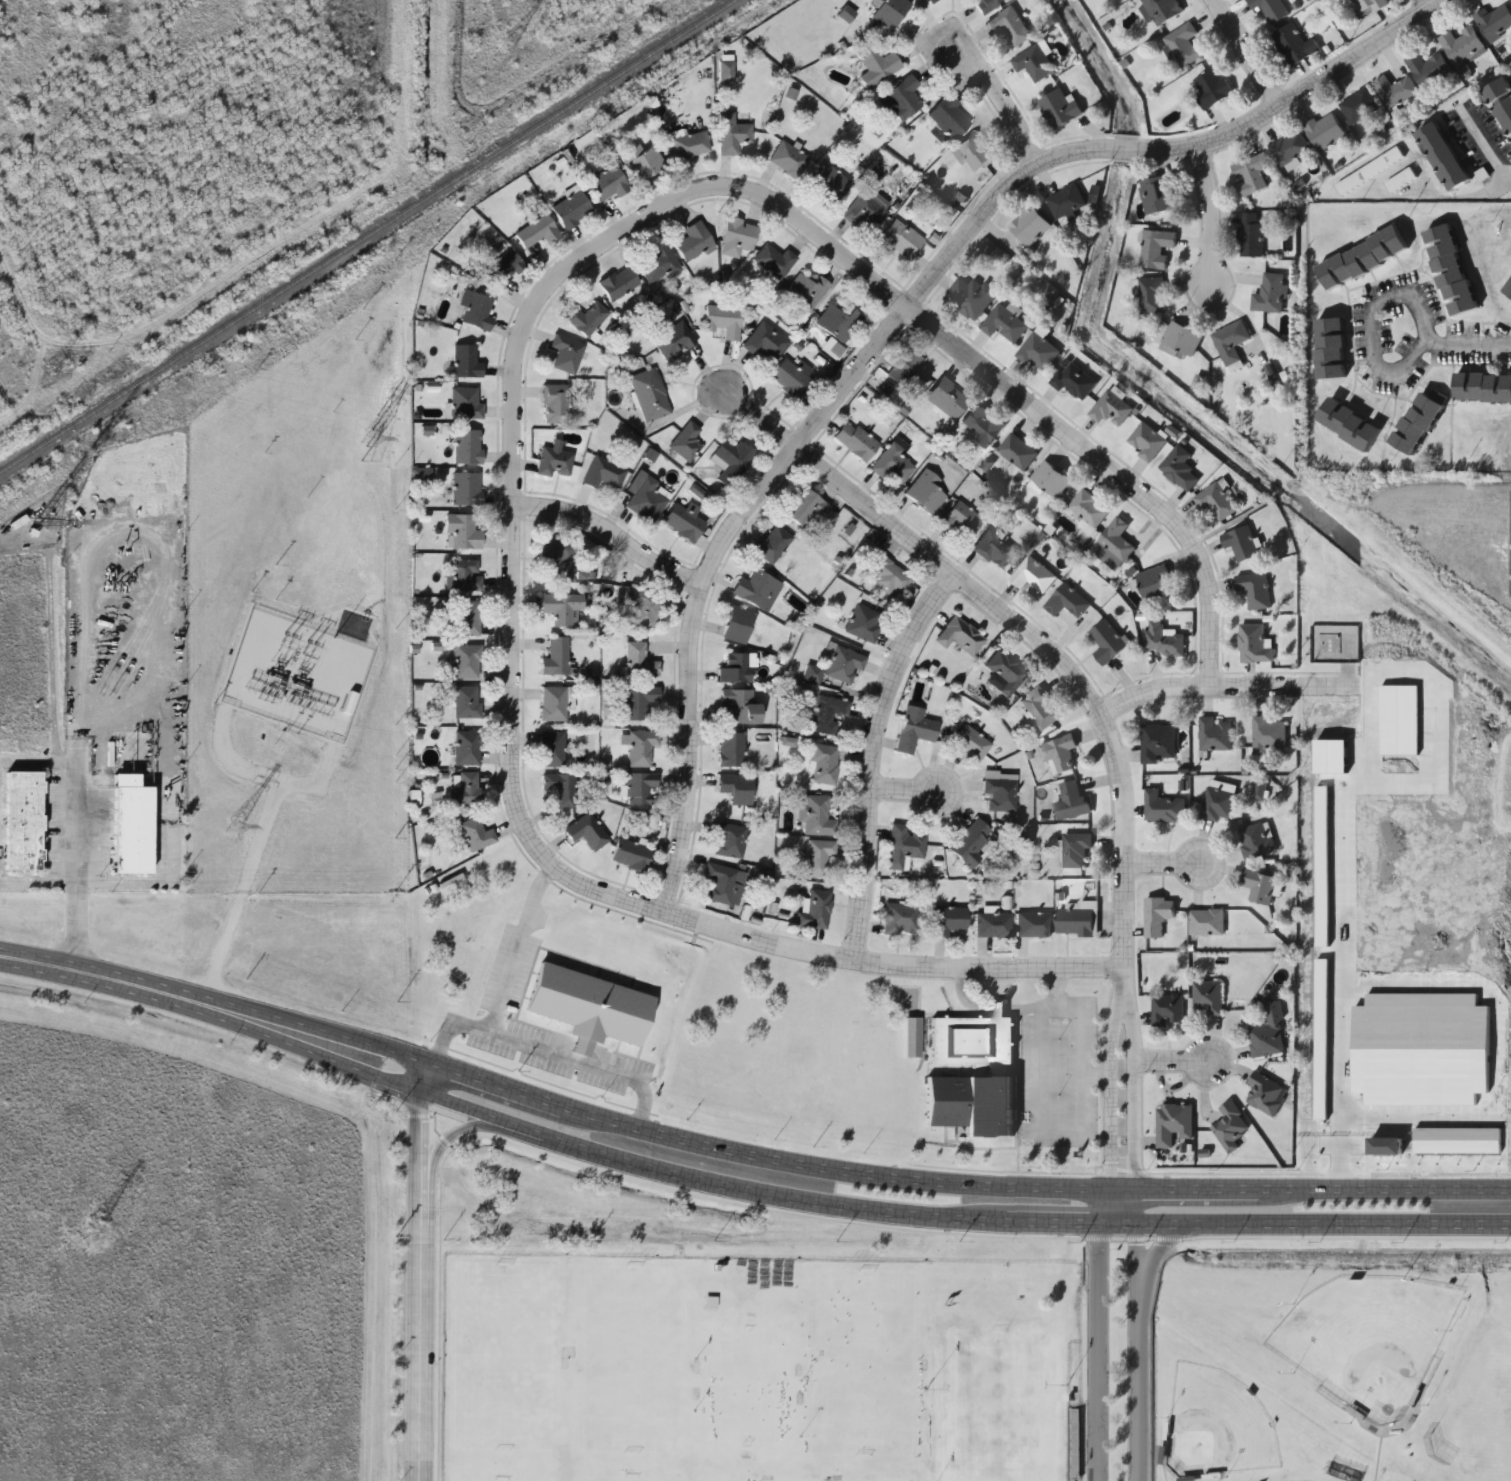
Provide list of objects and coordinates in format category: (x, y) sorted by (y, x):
building: (1510, 0)
building: (930, 1)
building: (1370, 5)
building: (986, 6)
road: (1417, 8)
building: (1270, 9)
building: (1160, 10)
building: (889, 12)
building: (1494, 23)
building: (1009, 26)
building: (1184, 45)
building: (1294, 45)
building: (1462, 49)
road: (932, 53)
road: (1241, 54)
building: (1033, 63)
building: (877, 66)
building: (1427, 69)
building: (1211, 88)
building: (1503, 89)
building: (1394, 91)
road: (995, 95)
building: (900, 98)
building: (1358, 106)
building: (1059, 109)
building: (948, 117)
building: (1325, 131)
building: (731, 133)
road: (1478, 139)
building: (690, 145)
building: (1446, 147)
building: (1289, 149)
building: (975, 152)
building: (788, 159)
building: (641, 162)
building: (1368, 171)
building: (1251, 174)
building: (1400, 180)
road: (1508, 180)
building: (608, 183)
building: (828, 184)
building: (1158, 195)
building: (1066, 201)
building: (571, 209)
building: (866, 211)
road: (1202, 214)
building: (1030, 226)
building: (537, 231)
railway: (366, 235)
building: (737, 236)
building: (1250, 236)
building: (693, 241)
building: (900, 241)
building: (1156, 248)
building: (1363, 259)
building: (773, 260)
building: (658, 262)
building: (502, 268)
building: (1451, 271)
building: (618, 283)
building: (805, 291)
building: (1510, 293)
building: (1269, 294)
building: (1151, 295)
building: (973, 296)
building: (476, 310)
building: (586, 318)
building: (723, 319)
road: (892, 321)
building: (838, 323)
road: (1367, 323)
building: (1004, 325)
building: (673, 339)
building: (1180, 341)
road: (1468, 341)
building: (764, 343)
building: (1231, 343)
building: (1331, 348)
building: (831, 349)
building: (566, 353)
building: (1038, 353)
building: (465, 361)
building: (909, 371)
building: (791, 378)
building: (1073, 381)
building: (1483, 388)
building: (649, 393)
building: (947, 398)
building: (465, 403)
building: (554, 403)
building: (1111, 410)
road: (761, 419)
building: (1418, 423)
building: (1350, 425)
building: (982, 426)
building: (686, 442)
building: (856, 442)
building: (1148, 443)
building: (467, 446)
building: (1017, 452)
building: (553, 462)
building: (894, 463)
road: (1106, 466)
building: (1179, 469)
building: (605, 473)
building: (465, 488)
building: (926, 493)
building: (645, 497)
building: (1215, 502)
building: (805, 507)
building: (1088, 509)
building: (962, 520)
building: (684, 521)
building: (461, 533)
road: (611, 539)
building: (772, 543)
building: (1240, 544)
building: (1113, 545)
building: (994, 550)
building: (560, 557)
building: (464, 574)
building: (886, 575)
building: (1033, 576)
building: (1154, 585)
building: (756, 589)
building: (1254, 590)
building: (1065, 602)
building: (639, 605)
building: (562, 608)
building: (467, 618)
building: (863, 623)
building: (737, 624)
road: (1064, 633)
building: (959, 636)
building: (1164, 640)
building: (1107, 643)
building: (1254, 645)
road: (510, 657)
building: (556, 657)
building: (466, 661)
building: (639, 661)
building: (844, 665)
building: (736, 668)
building: (1005, 672)
building: (812, 673)
road: (1225, 684)
building: (466, 701)
building: (638, 702)
building: (552, 703)
building: (738, 707)
building: (1040, 709)
building: (826, 713)
building: (914, 730)
building: (1214, 735)
building: (1268, 737)
building: (970, 743)
building: (1157, 744)
road: (1115, 745)
building: (466, 747)
building: (641, 747)
building: (550, 749)
building: (730, 750)
building: (1059, 755)
road: (868, 756)
building: (823, 764)
building: (464, 788)
building: (560, 788)
building: (640, 788)
building: (736, 788)
road: (907, 788)
building: (1000, 794)
building: (1071, 802)
building: (1218, 805)
building: (1163, 808)
building: (816, 816)
building: (24, 822)
building: (132, 830)
building: (586, 832)
building: (475, 834)
building: (728, 840)
building: (1255, 840)
building: (969, 843)
building: (903, 847)
building: (1075, 850)
building: (632, 855)
building: (818, 857)
road: (1159, 863)
building: (724, 884)
building: (1259, 886)
building: (815, 910)
building: (1157, 916)
building: (901, 918)
building: (949, 920)
building: (1075, 922)
building: (1206, 922)
building: (993, 924)
building: (1033, 924)
road: (62, 969)
building: (1208, 997)
building: (1167, 1011)
building: (1268, 1033)
building: (974, 1039)
road: (1165, 1063)
building: (1266, 1094)
building: (972, 1105)
building: (1173, 1124)
building: (1230, 1127)
road: (447, 1137)
road: (805, 1165)
road: (800, 1200)
road: (420, 1270)
building: (709, 1302)
road: (1097, 1332)
road: (1140, 1332)
park: (1366, 1340)
park: (503, 1356)
park: (631, 1358)
park: (997, 1405)
building: (1188, 1479)

